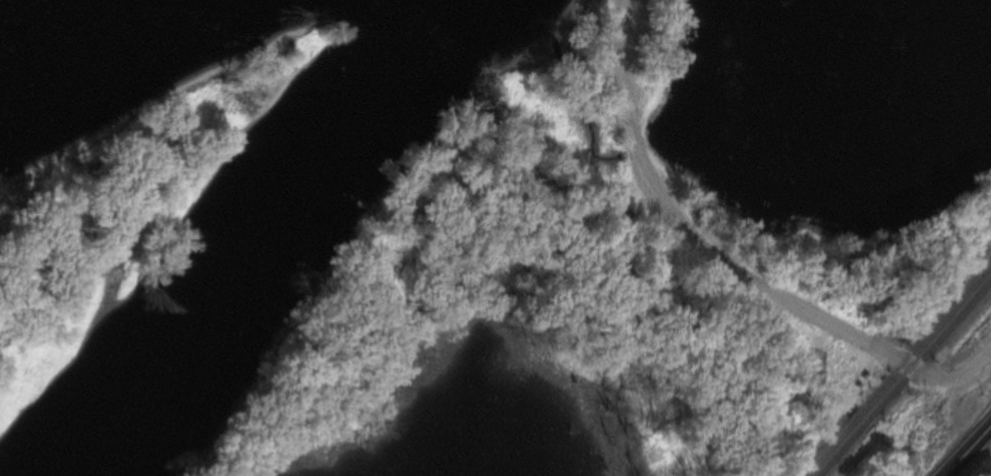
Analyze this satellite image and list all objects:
road: (652, 262)
road: (719, 265)
railway: (896, 368)
railway: (904, 376)
road: (965, 449)

